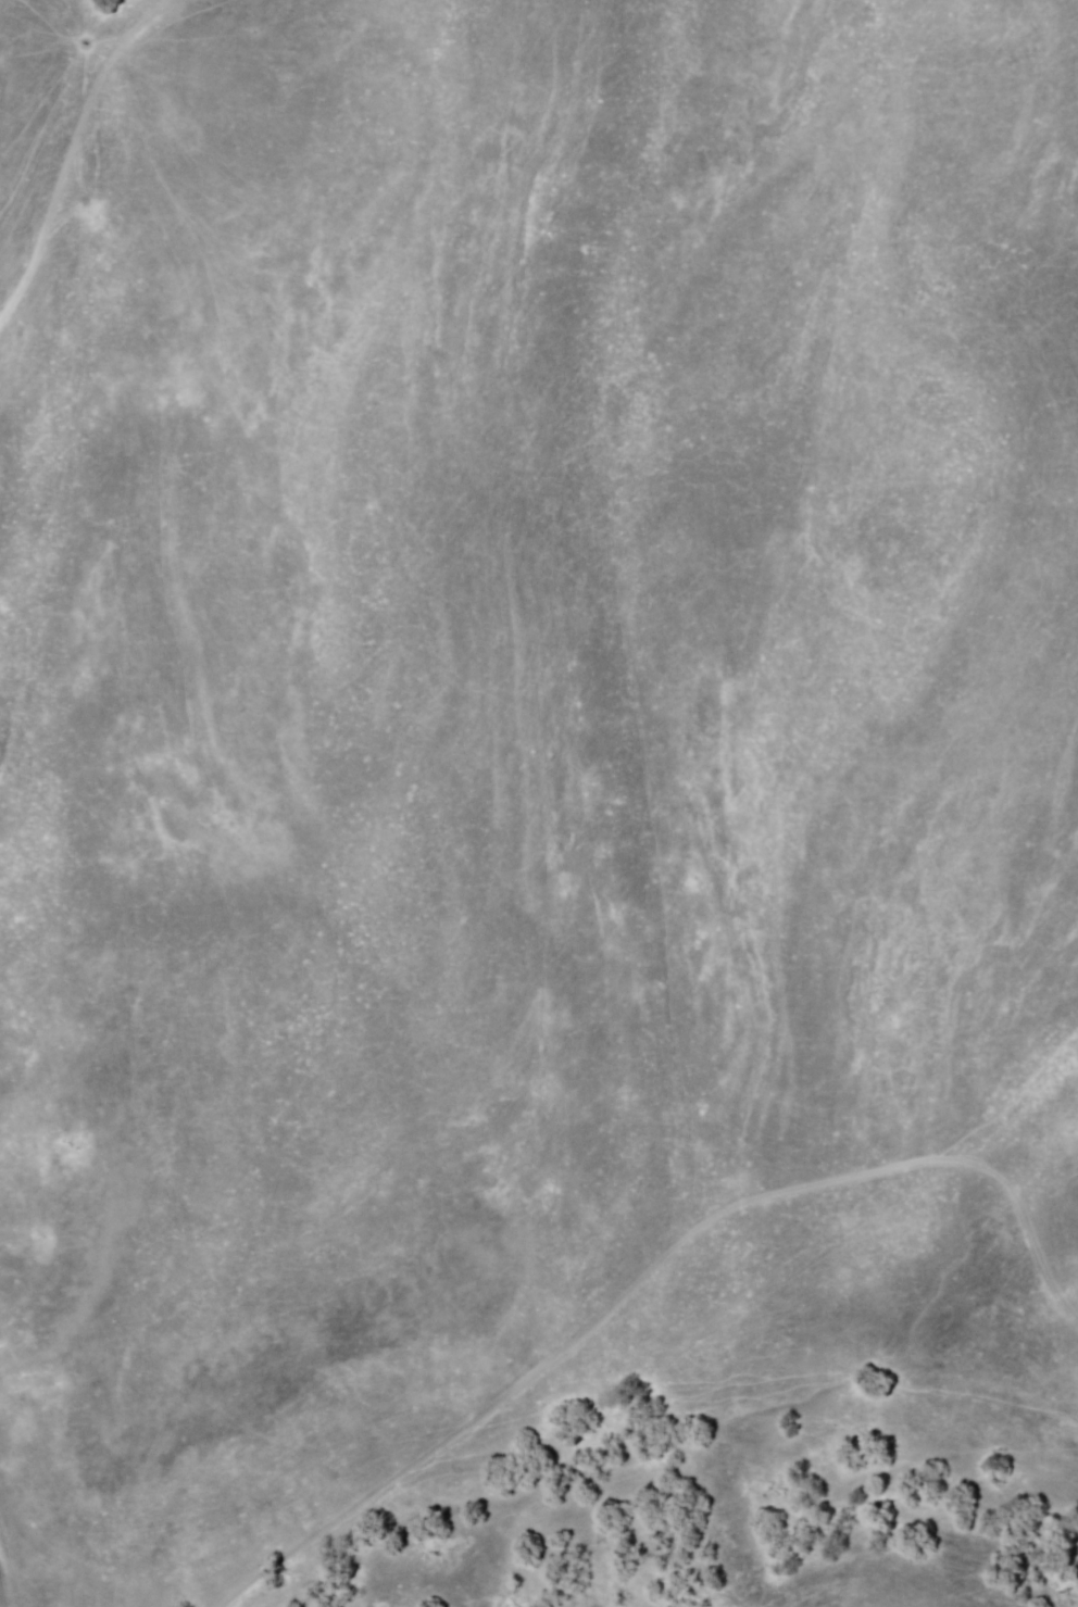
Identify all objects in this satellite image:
road: (89, 158)

